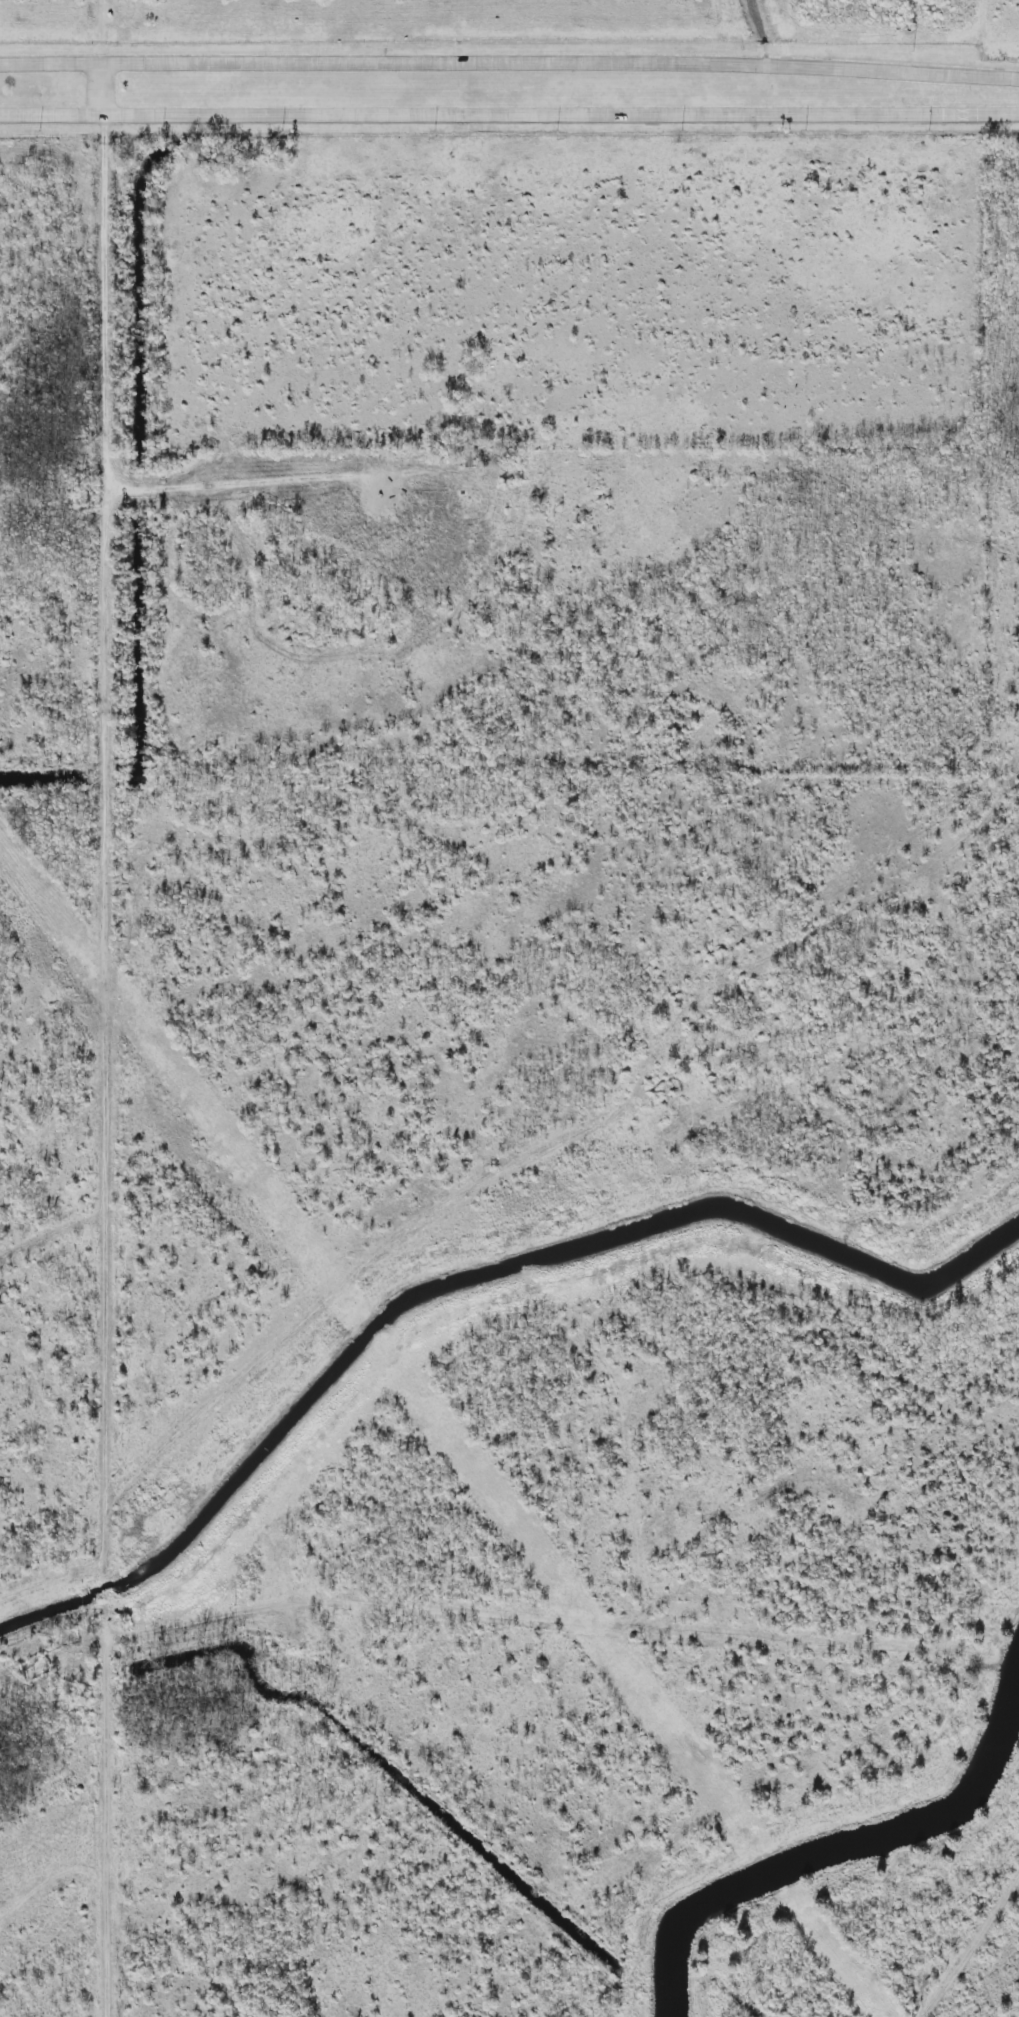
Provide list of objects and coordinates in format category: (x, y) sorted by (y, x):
road: (509, 62)
road: (509, 114)

